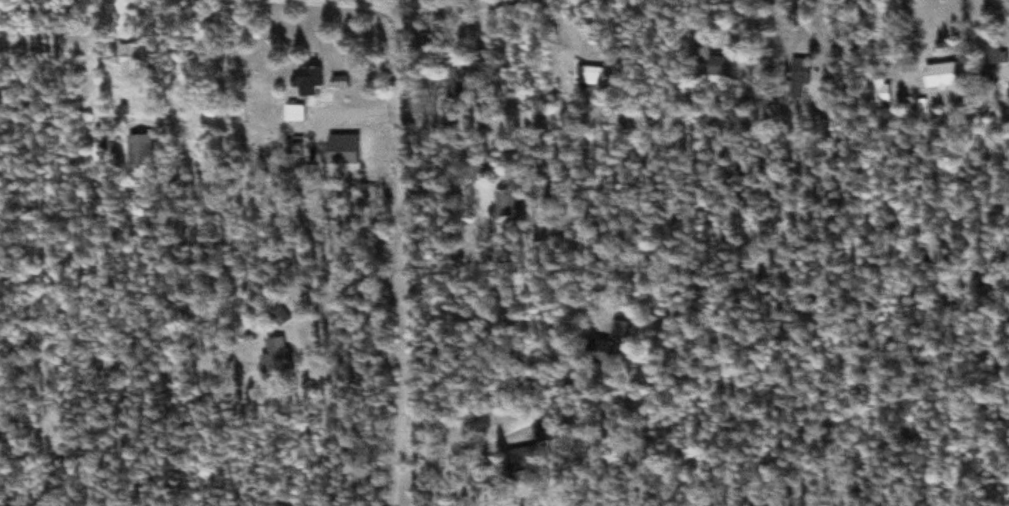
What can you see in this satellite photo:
road: (495, 4)
road: (308, 9)
building: (991, 56)
building: (131, 58)
building: (724, 68)
building: (587, 77)
building: (939, 77)
building: (800, 79)
building: (459, 80)
building: (307, 81)
building: (340, 83)
building: (879, 92)
building: (1008, 97)
building: (140, 152)
road: (406, 153)
building: (507, 204)
building: (651, 304)
building: (610, 348)
building: (278, 354)
road: (412, 402)
building: (543, 432)
building: (517, 462)

